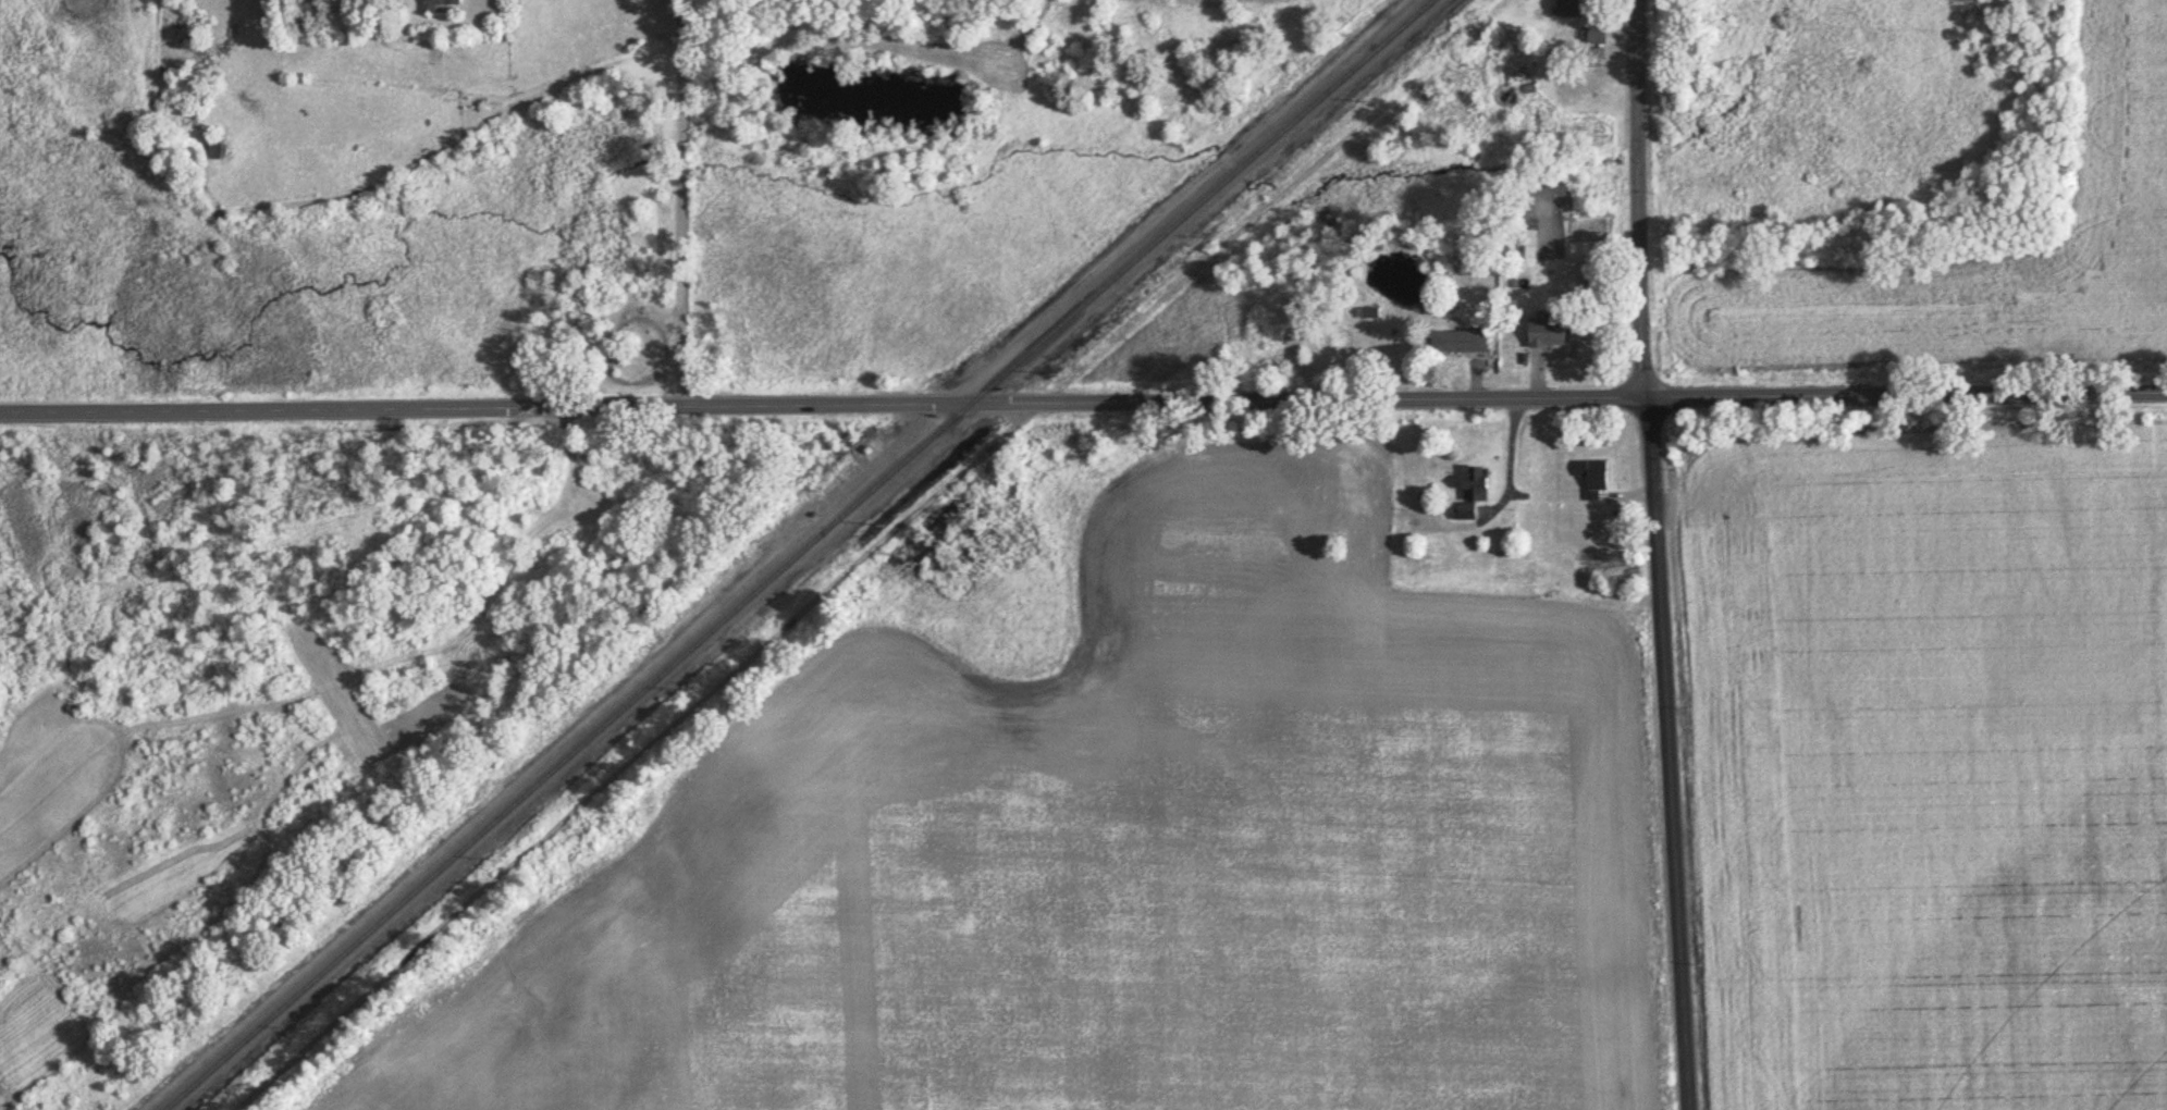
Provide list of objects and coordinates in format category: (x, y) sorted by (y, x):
building: (438, 5)
building: (1568, 10)
building: (1597, 37)
building: (1596, 54)
building: (214, 152)
road: (684, 202)
building: (1530, 245)
crop: (1973, 257)
building: (1590, 276)
building: (1548, 334)
building: (1460, 343)
road: (1083, 403)
building: (1593, 479)
building: (1473, 494)
railway: (800, 553)
road: (870, 555)
road: (1659, 555)

